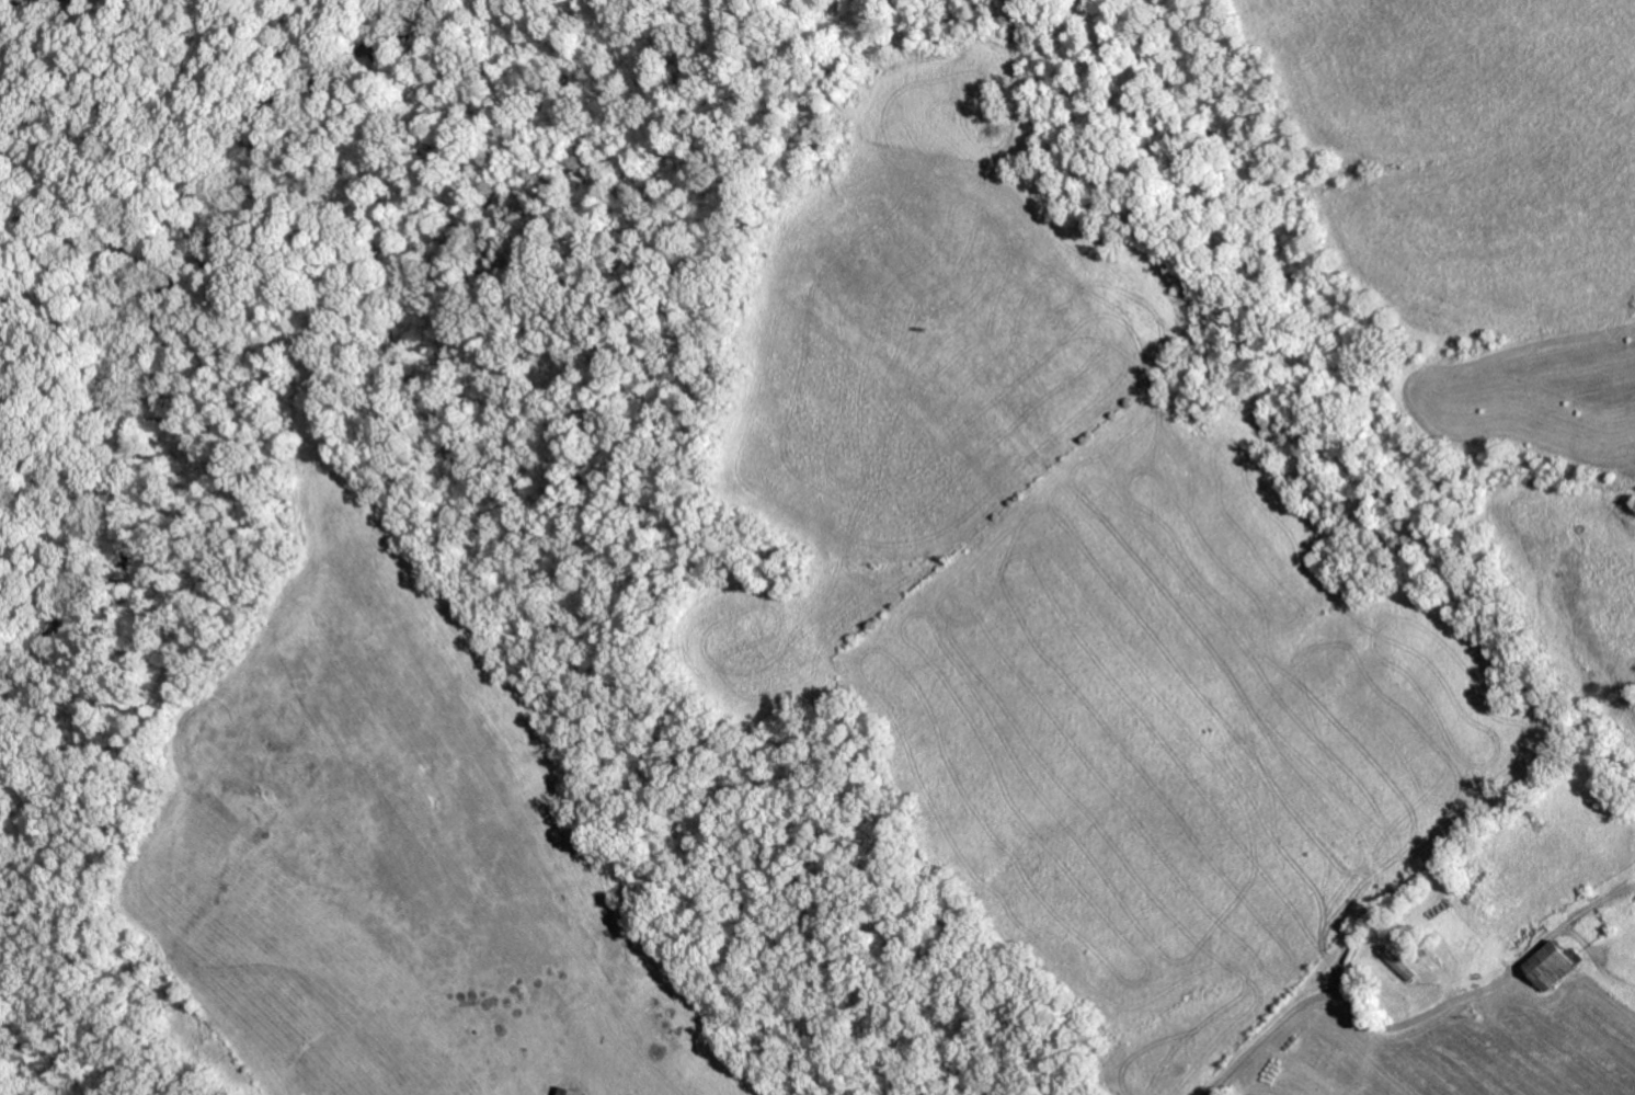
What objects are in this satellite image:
building: (1548, 962)
road: (1234, 1034)
road: (888, 1081)
building: (571, 1091)

